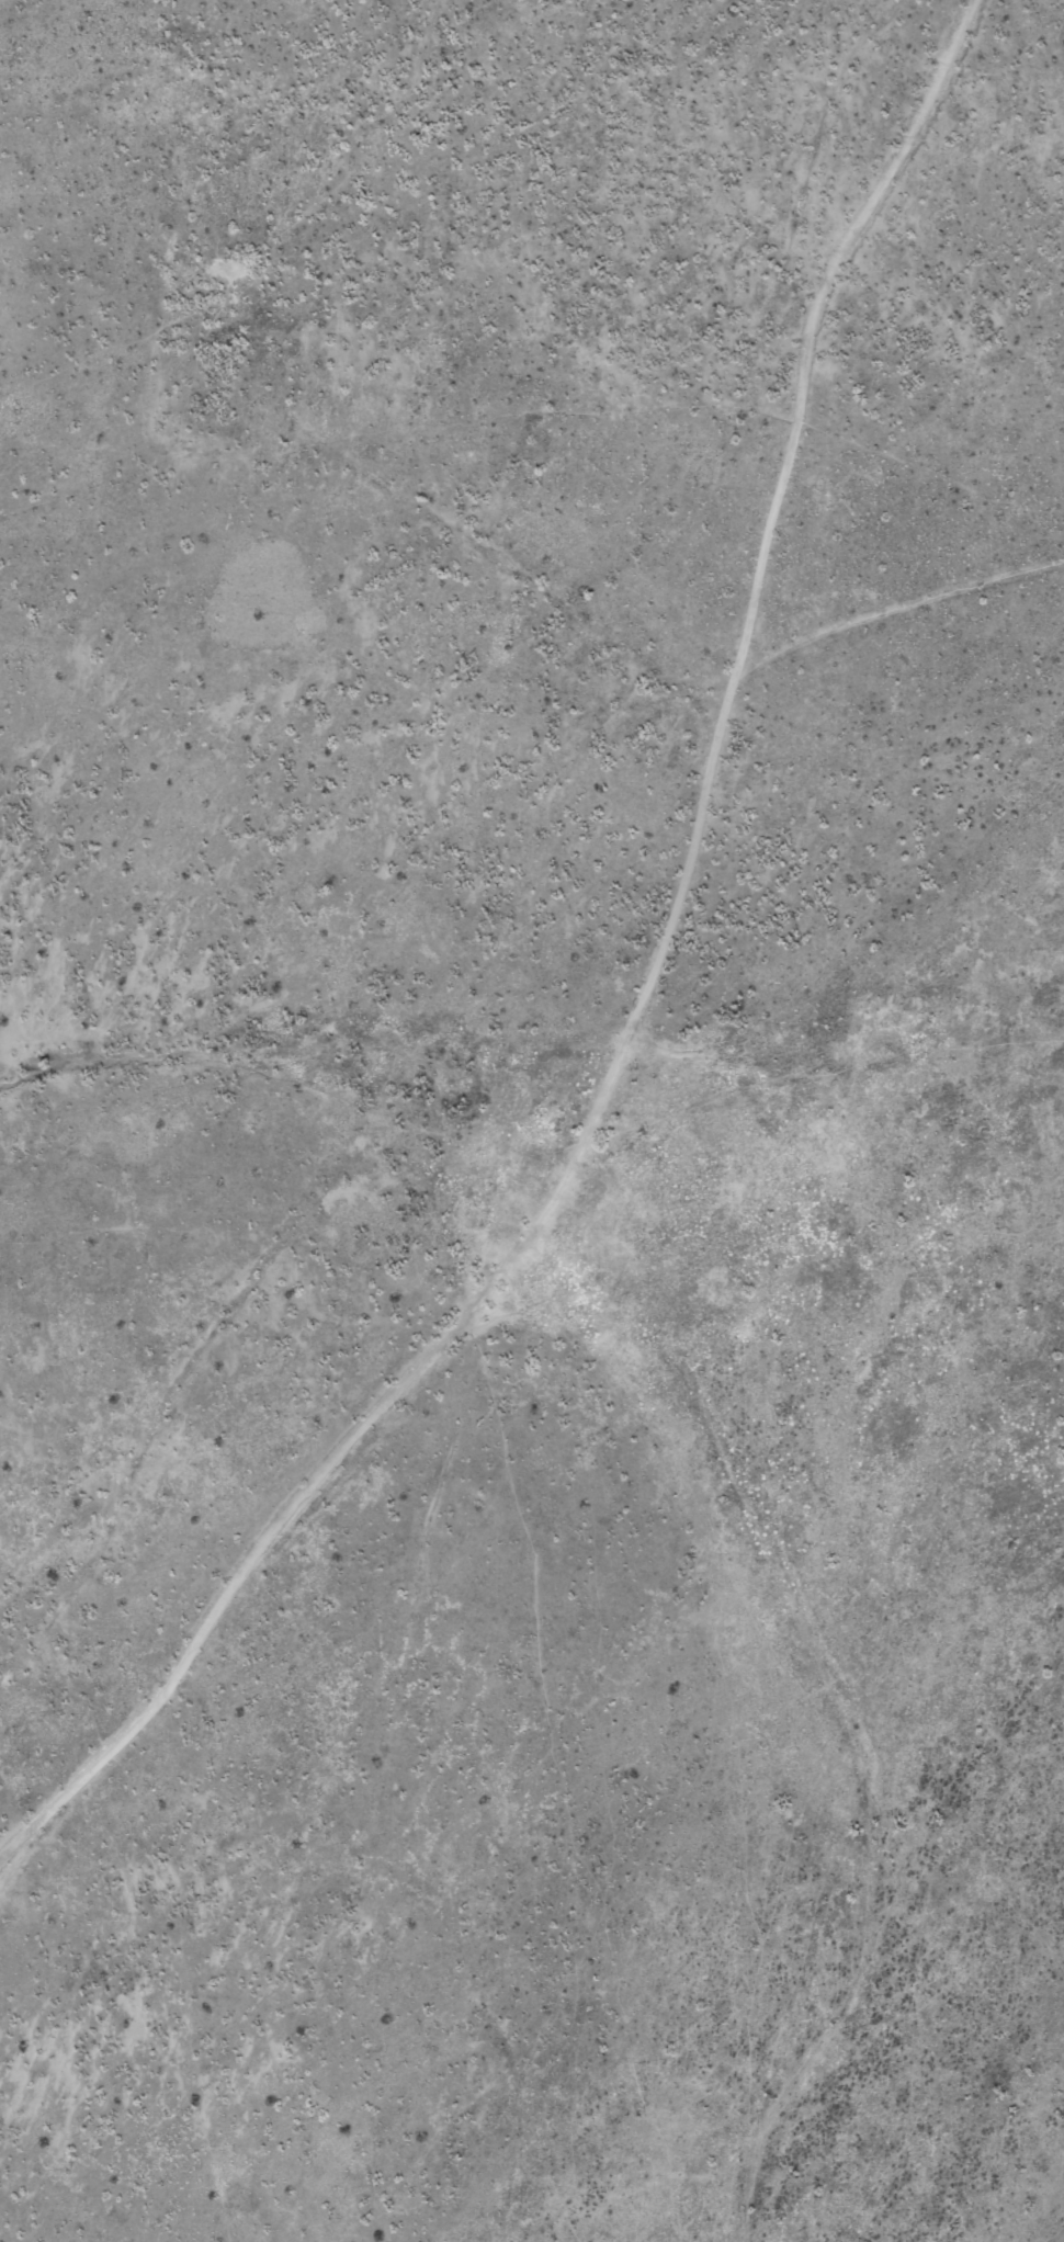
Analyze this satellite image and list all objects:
road: (917, 598)
road: (656, 1038)

